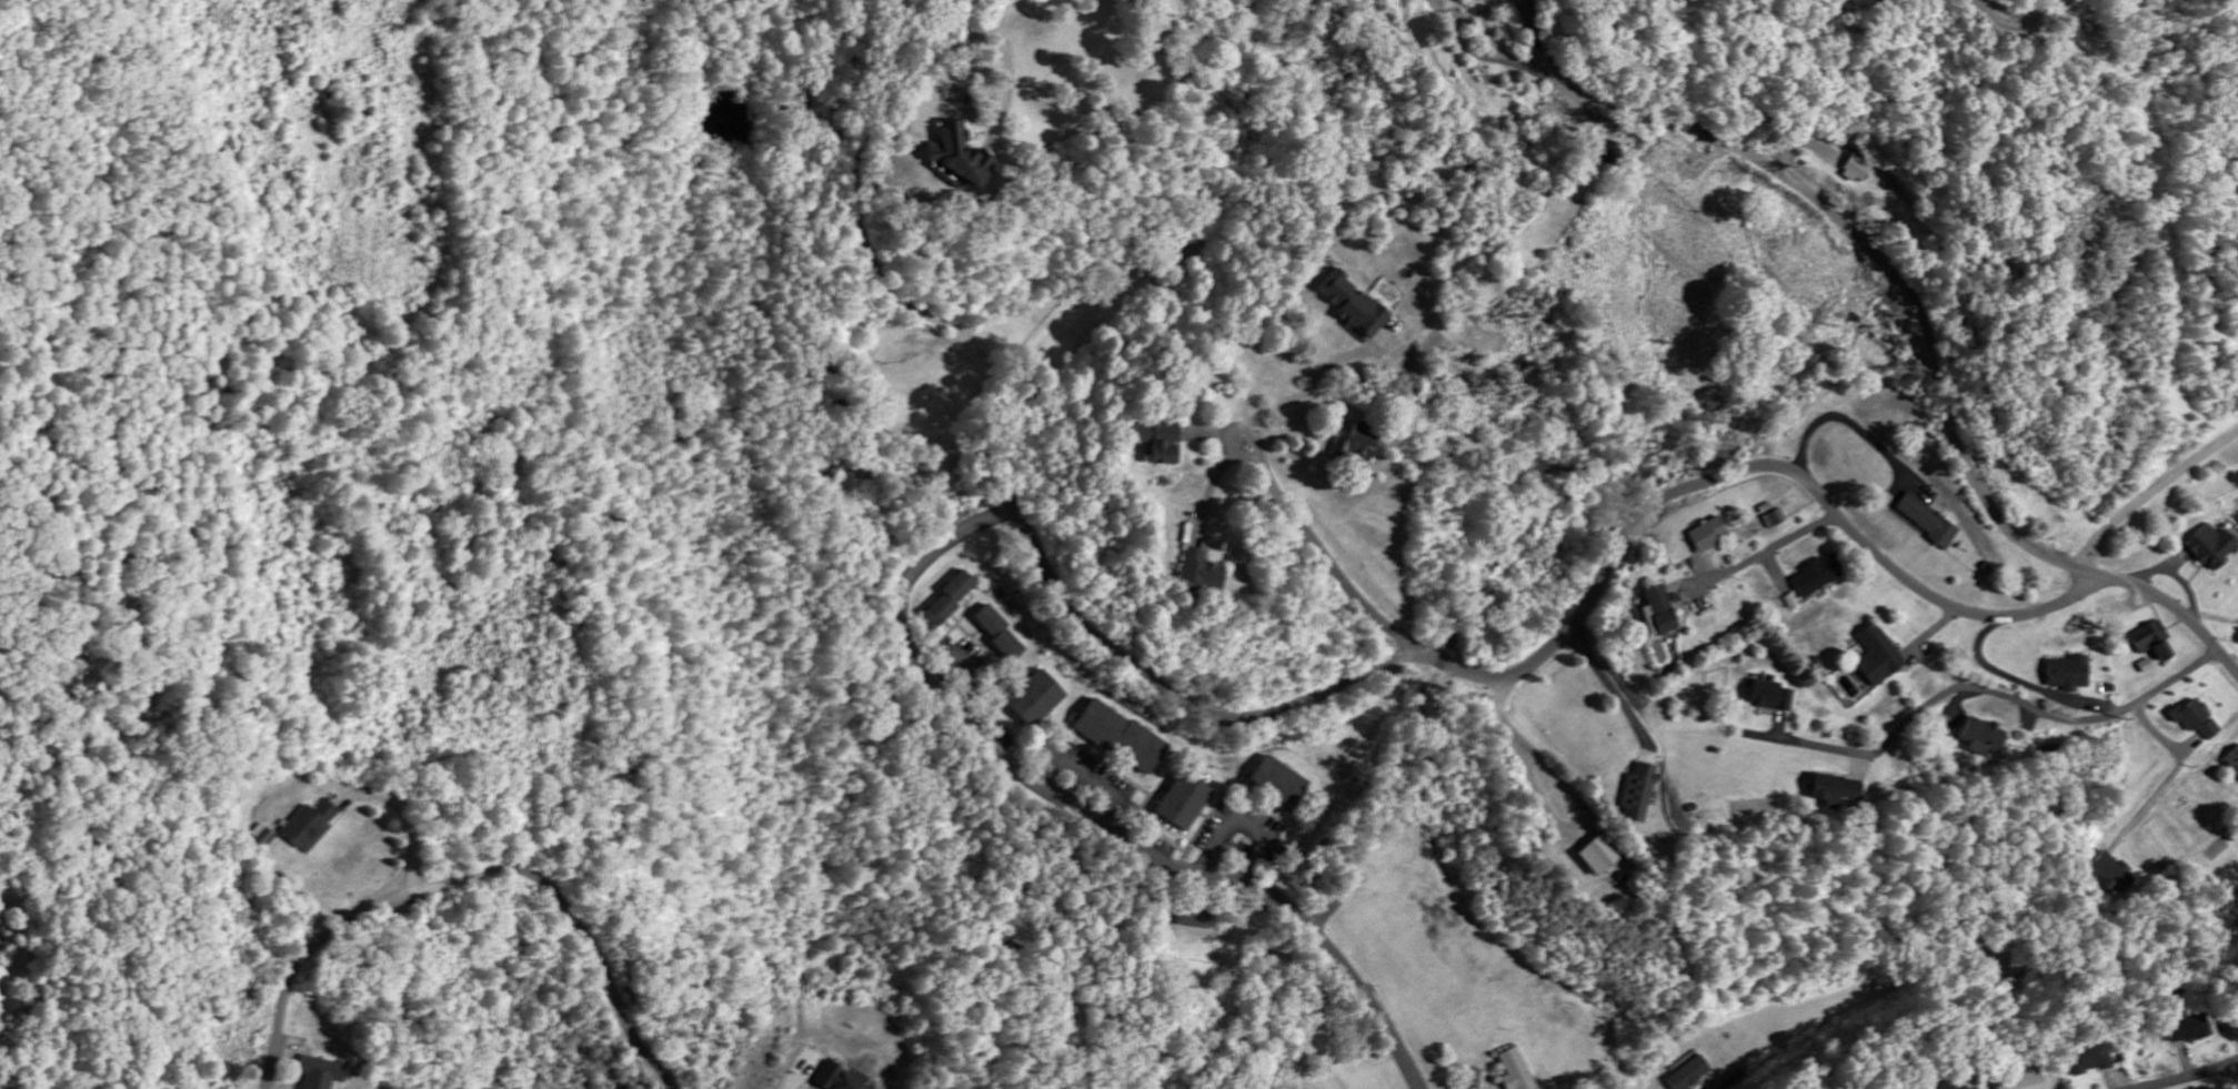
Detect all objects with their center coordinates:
road: (1524, 8)
road: (2013, 23)
building: (1606, 153)
building: (955, 154)
building: (1856, 170)
road: (1916, 303)
building: (1354, 305)
building: (1158, 442)
building: (1354, 442)
road: (2149, 492)
building: (1774, 518)
building: (1927, 520)
building: (1706, 535)
building: (2210, 546)
road: (1768, 552)
road: (1325, 556)
building: (1198, 572)
building: (1817, 576)
building: (947, 599)
building: (1657, 612)
road: (2212, 616)
building: (998, 634)
building: (2152, 641)
building: (1878, 656)
road: (1381, 663)
building: (2067, 674)
building: (1770, 695)
road: (2008, 698)
building: (1034, 699)
building: (2195, 719)
building: (1121, 736)
building: (1980, 737)
building: (2232, 762)
building: (1277, 784)
building: (1831, 790)
building: (1638, 793)
building: (1183, 803)
road: (408, 820)
building: (309, 826)
building: (264, 836)
building: (1597, 858)
building: (2106, 874)
road: (468, 878)
road: (1274, 900)
building: (1192, 918)
building: (2185, 1028)
building: (2088, 1059)
building: (1516, 1071)
building: (317, 1073)
building: (1689, 1075)
road: (2188, 1077)
building: (836, 1079)
building: (2020, 1080)
road: (784, 1086)
building: (1947, 1086)
building: (1974, 1088)

